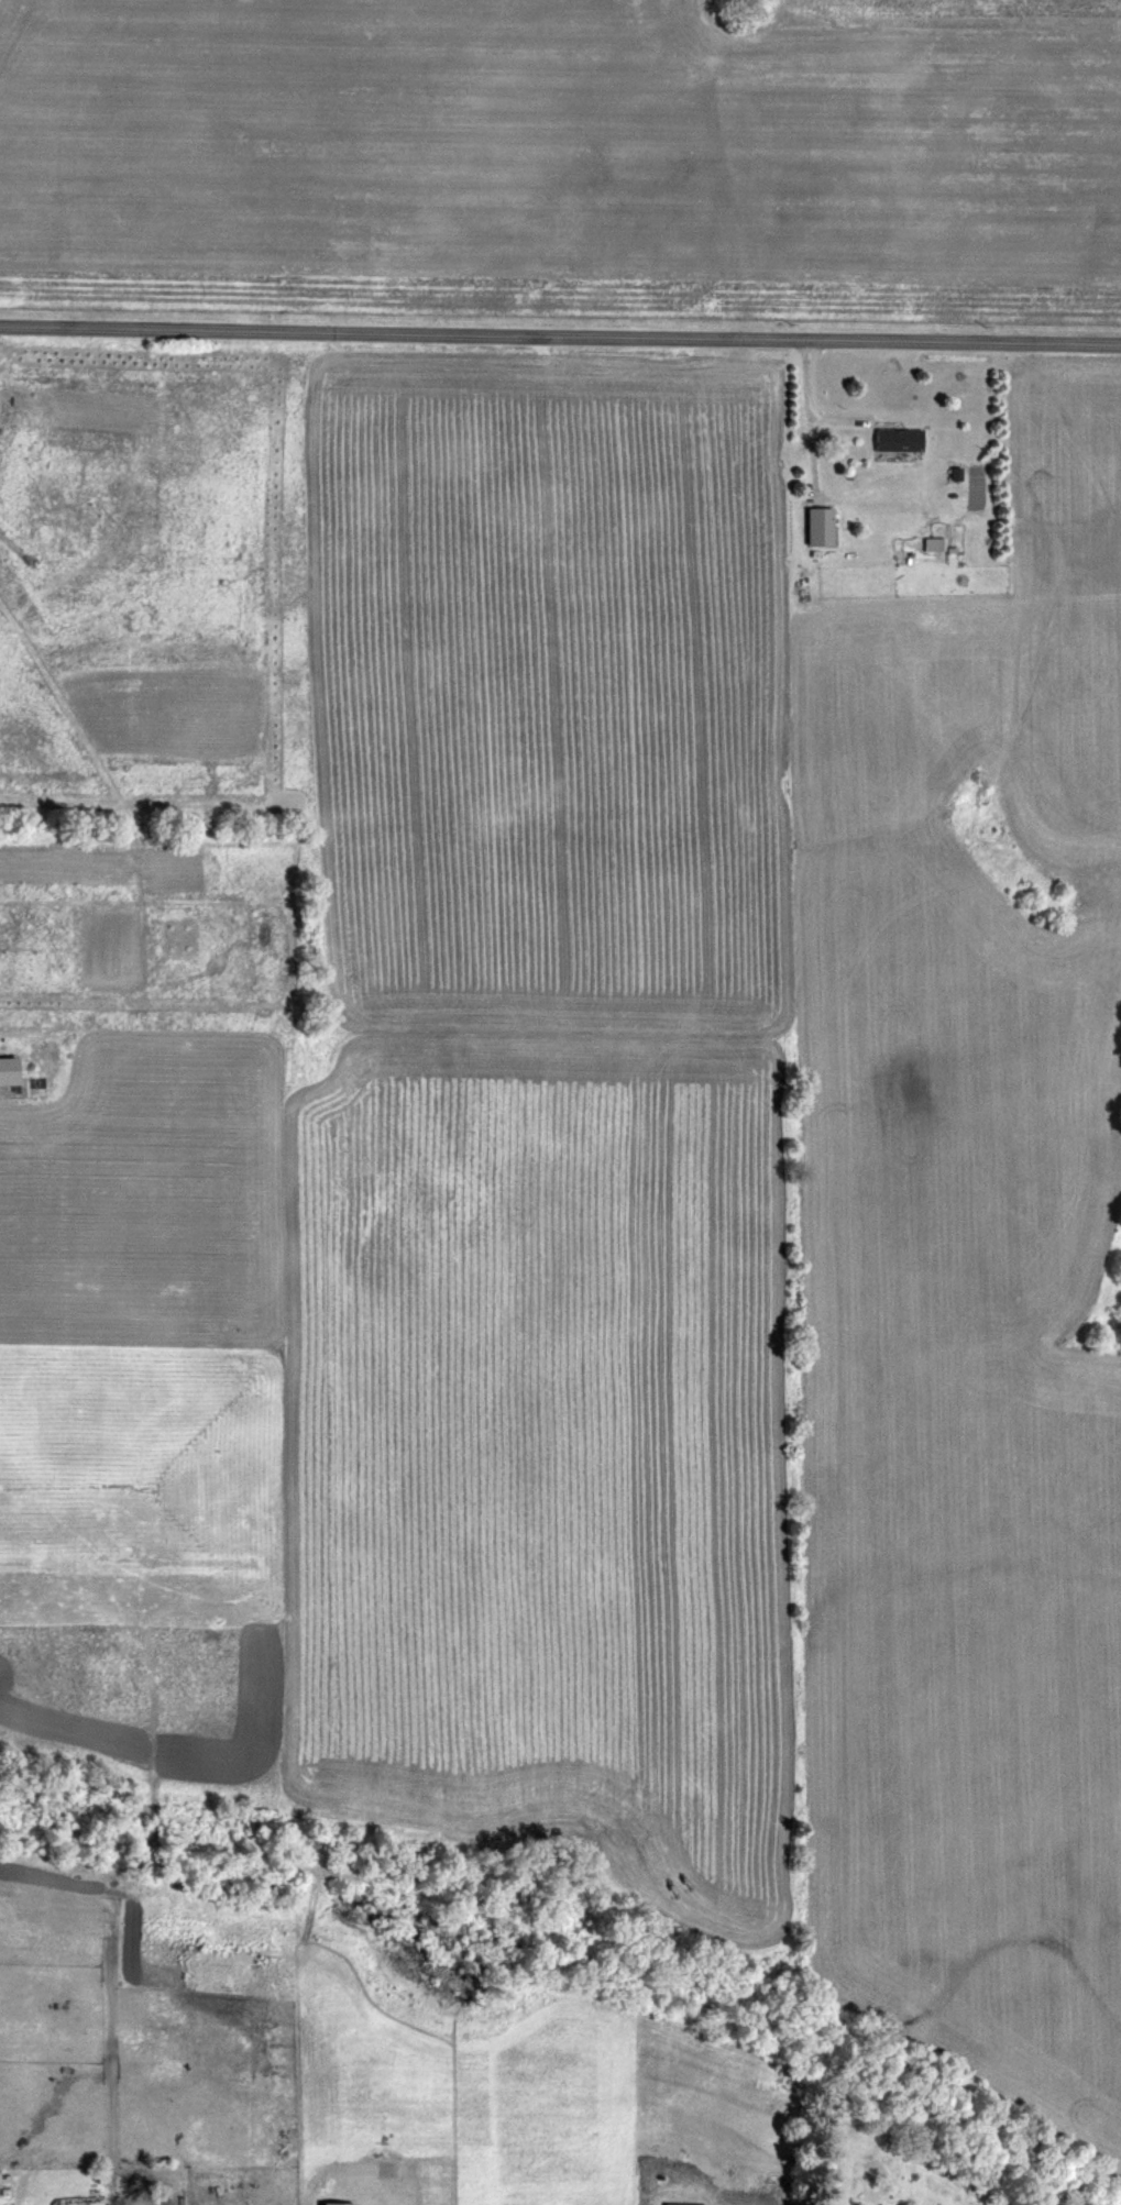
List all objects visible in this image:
road: (560, 334)
road: (803, 416)
building: (895, 440)
building: (817, 526)
building: (130, 2175)
building: (681, 2203)

